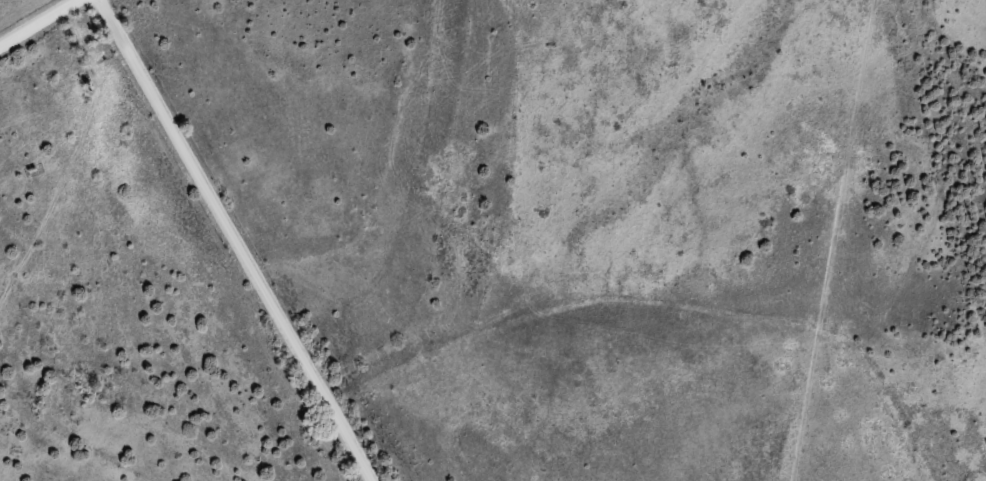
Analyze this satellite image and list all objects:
road: (43, 25)
road: (239, 240)

